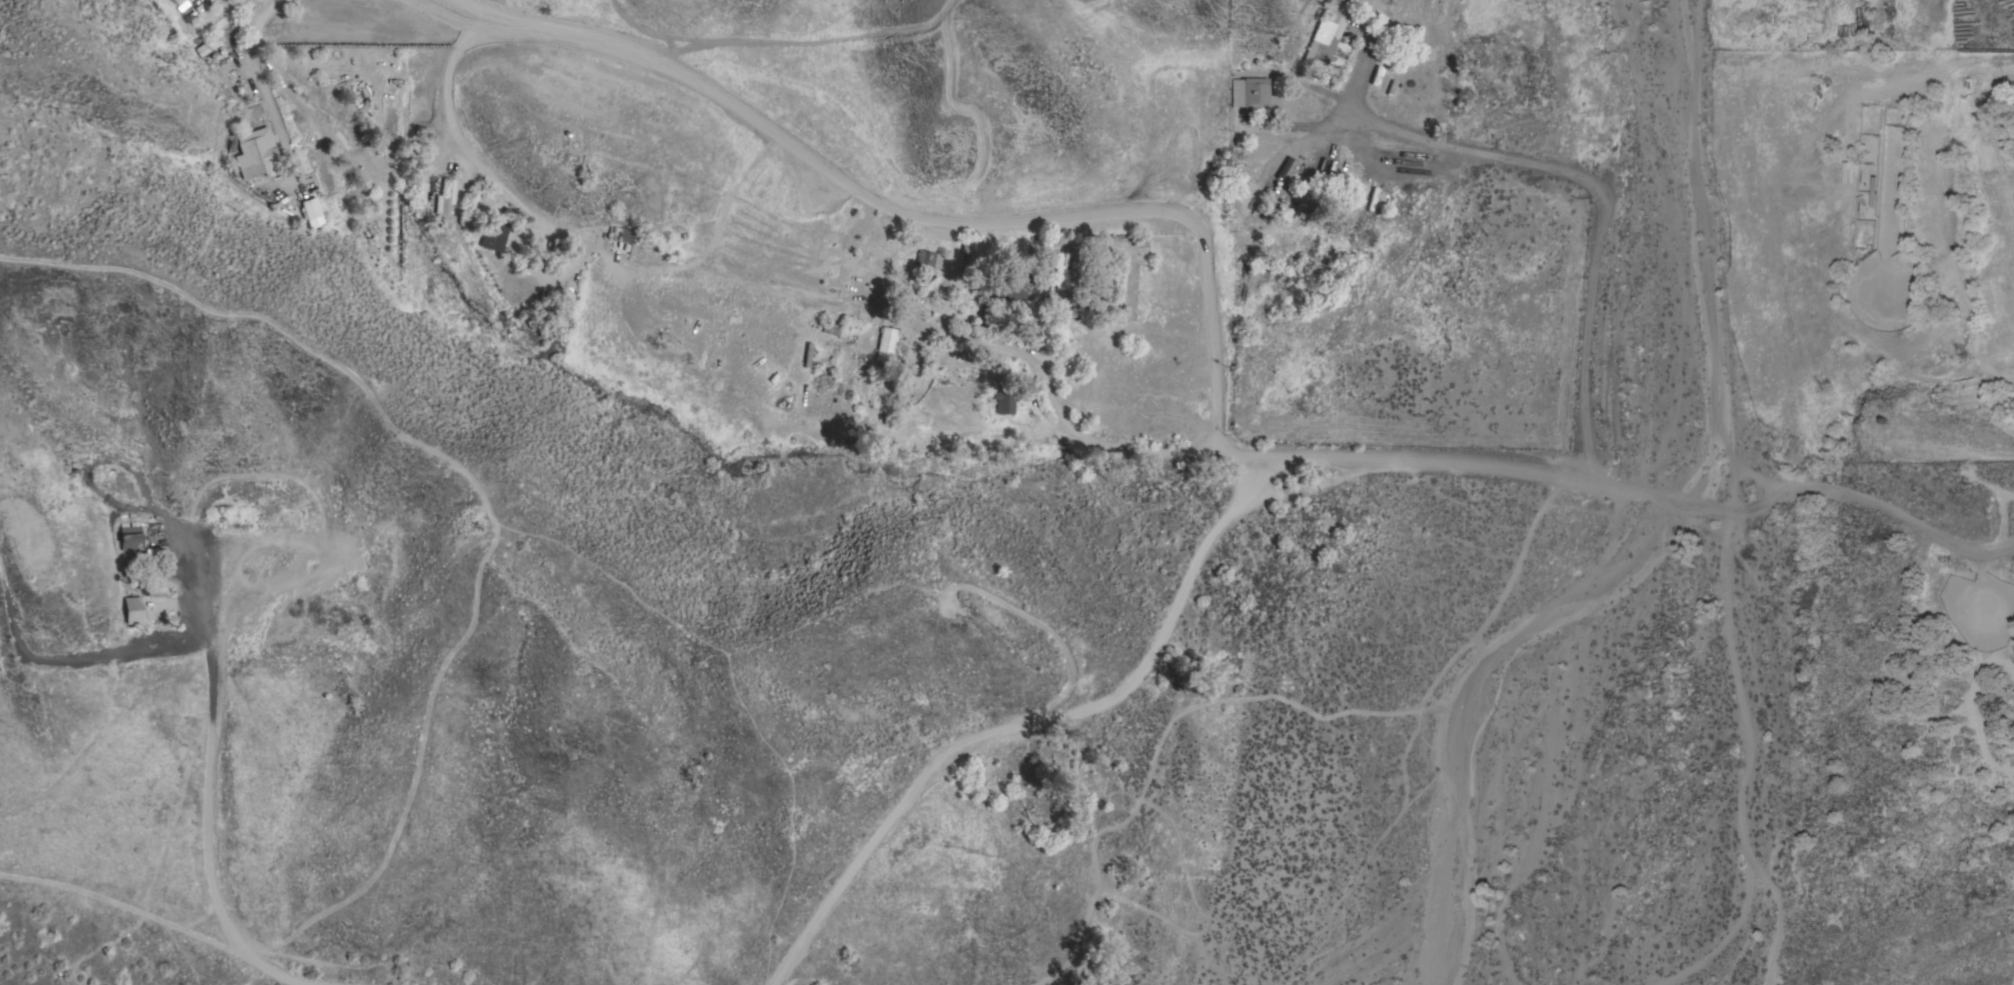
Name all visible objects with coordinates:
road: (461, 7)
road: (296, 28)
building: (1325, 40)
building: (1250, 93)
road: (1606, 93)
building: (244, 127)
building: (256, 156)
road: (1591, 183)
building: (445, 198)
building: (305, 204)
building: (309, 211)
road: (908, 222)
building: (627, 235)
building: (497, 236)
road: (610, 257)
building: (929, 259)
building: (1059, 271)
building: (1018, 290)
building: (830, 328)
building: (885, 347)
building: (1004, 402)
road: (1450, 461)
building: (131, 536)
building: (133, 610)
road: (1027, 726)
road: (1435, 728)
road: (1745, 751)
road: (1127, 814)
road: (212, 828)
road: (132, 912)
road: (1727, 940)

